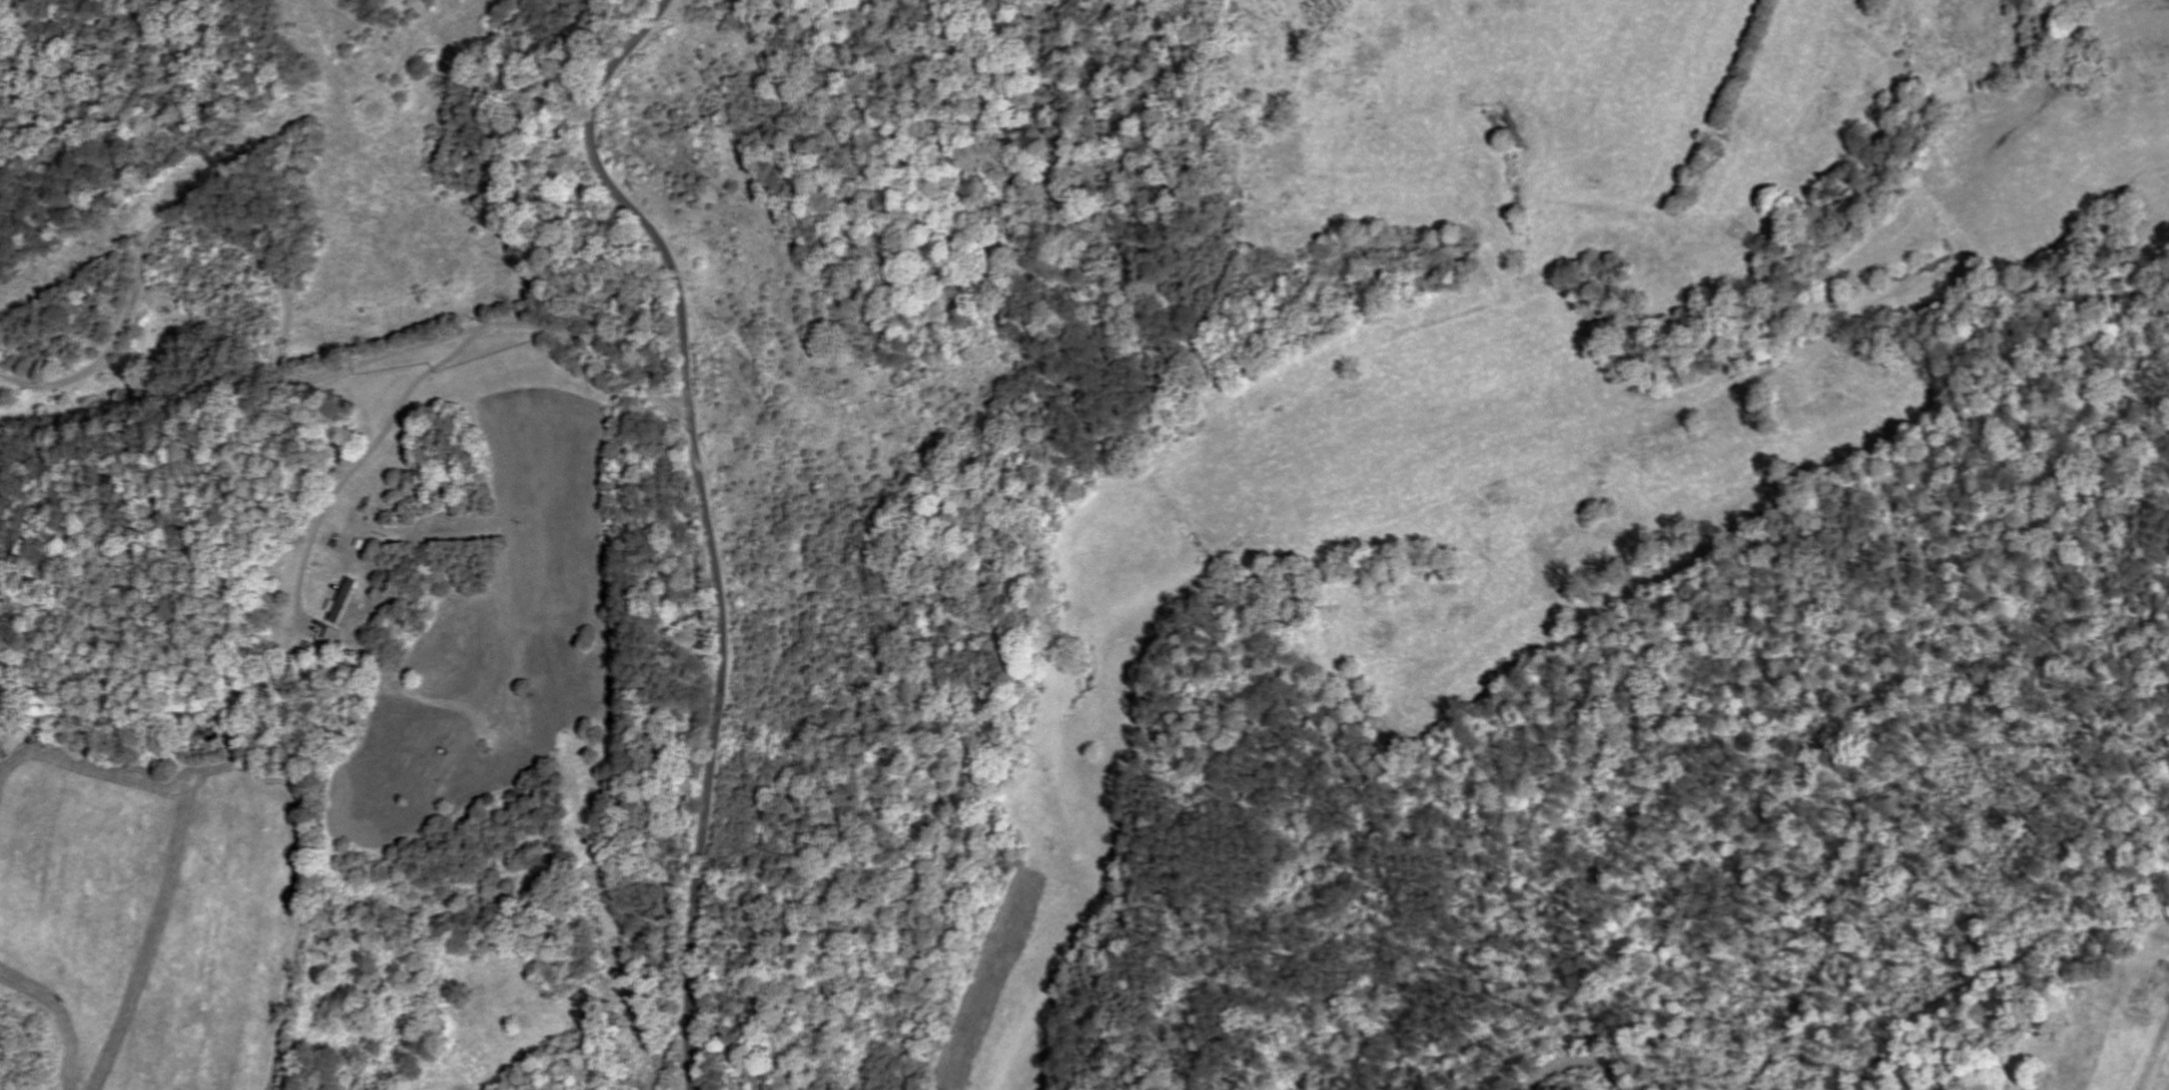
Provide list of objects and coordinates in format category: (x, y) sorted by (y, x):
road: (706, 519)
building: (346, 599)
building: (337, 634)

